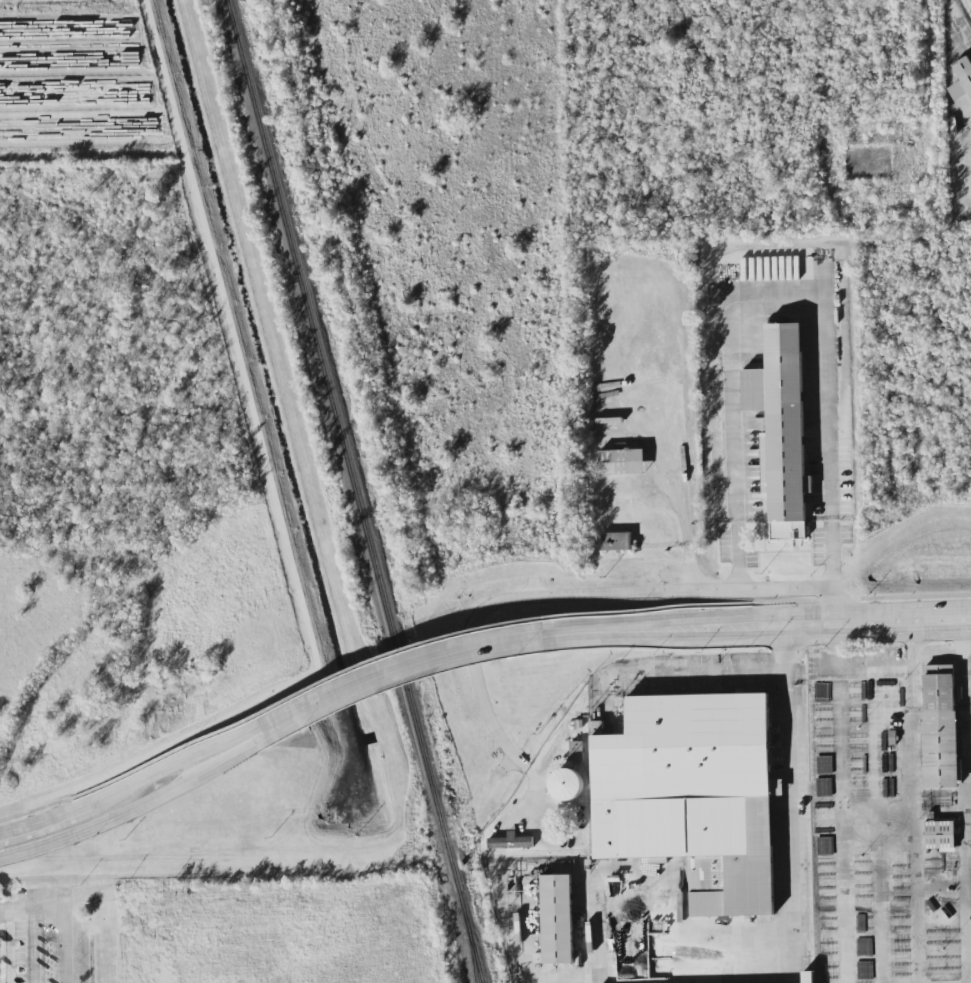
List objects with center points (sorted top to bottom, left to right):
building: (962, 79)
road: (733, 402)
building: (782, 429)
road: (828, 446)
building: (622, 462)
road: (678, 474)
railway: (356, 491)
building: (617, 541)
road: (571, 597)
road: (725, 605)
road: (793, 616)
road: (793, 637)
road: (873, 668)
road: (345, 673)
road: (316, 699)
road: (317, 714)
building: (940, 727)
building: (621, 728)
road: (913, 746)
road: (839, 762)
road: (110, 782)
building: (567, 784)
building: (693, 795)
building: (939, 799)
road: (965, 807)
road: (15, 829)
building: (940, 835)
building: (511, 842)
road: (18, 850)
building: (931, 867)
road: (792, 868)
road: (841, 869)
road: (87, 895)
road: (914, 904)
road: (879, 905)
road: (32, 907)
building: (557, 919)
railway: (589, 937)
road: (33, 945)
road: (65, 945)
building: (826, 947)
building: (808, 977)

